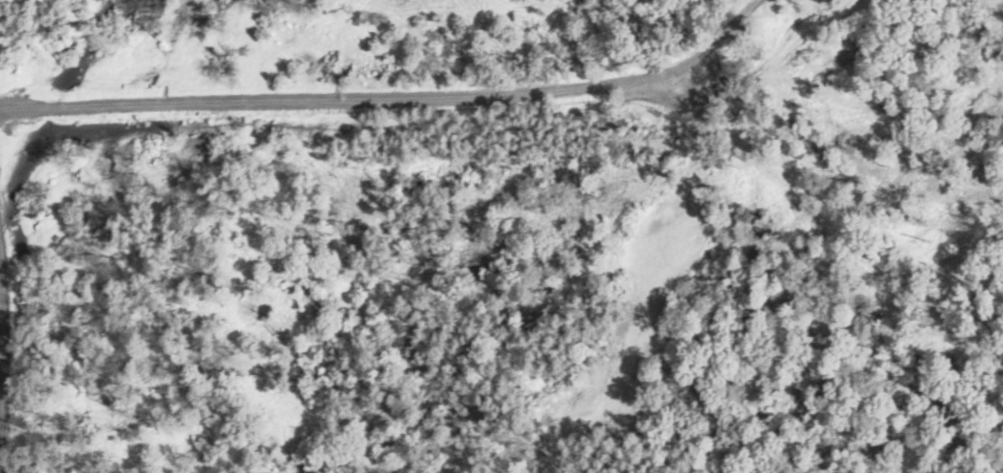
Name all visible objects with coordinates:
road: (400, 94)
road: (20, 267)

